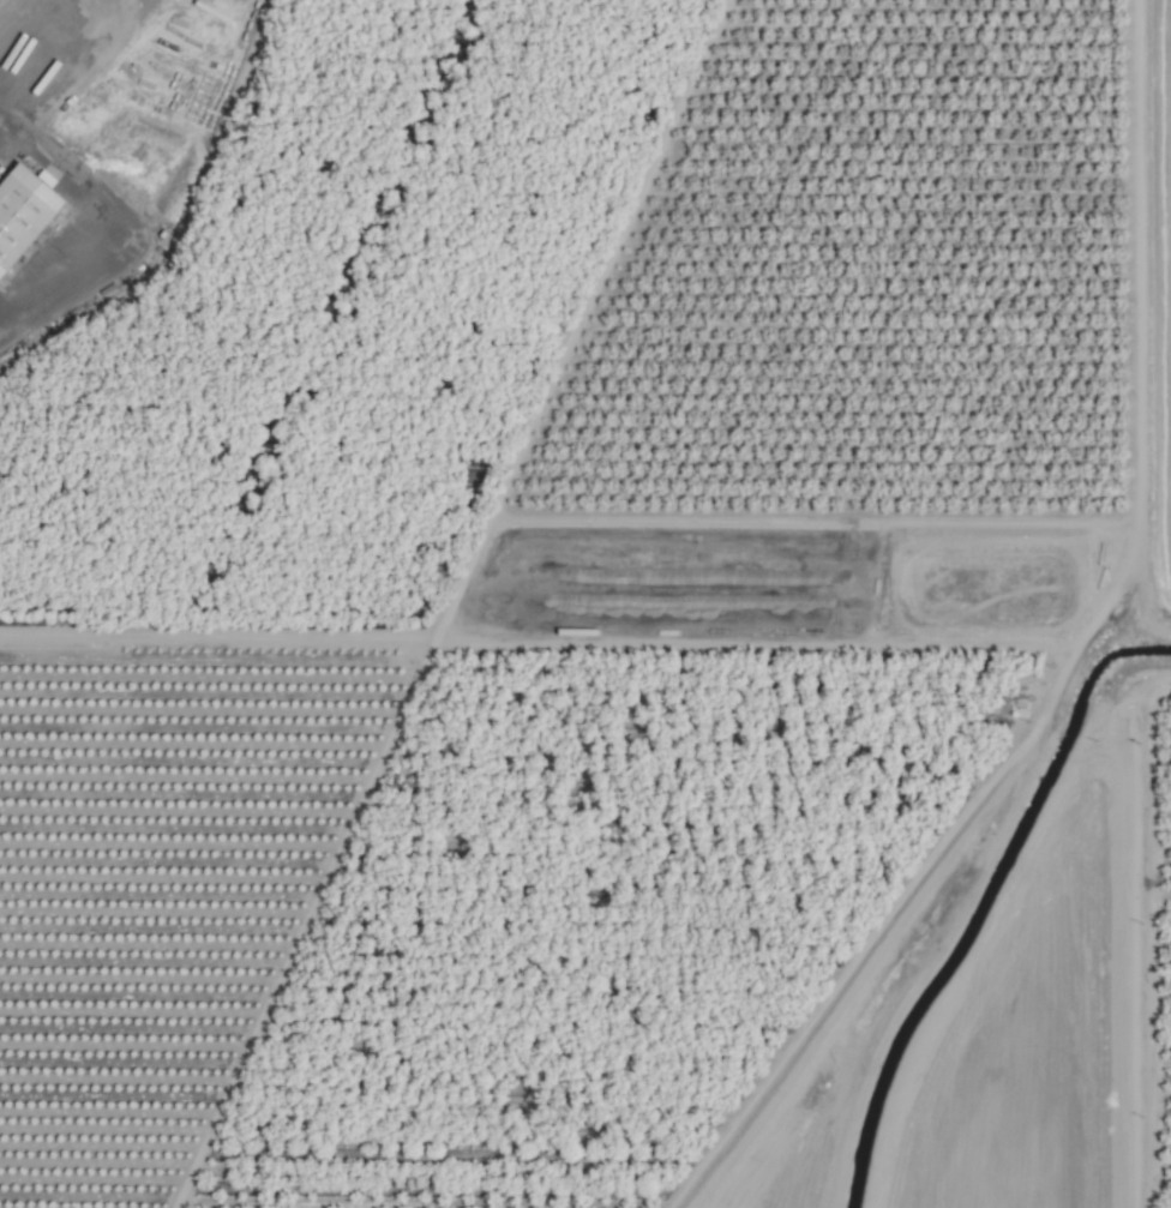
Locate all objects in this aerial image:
building: (23, 211)
crop: (585, 603)

